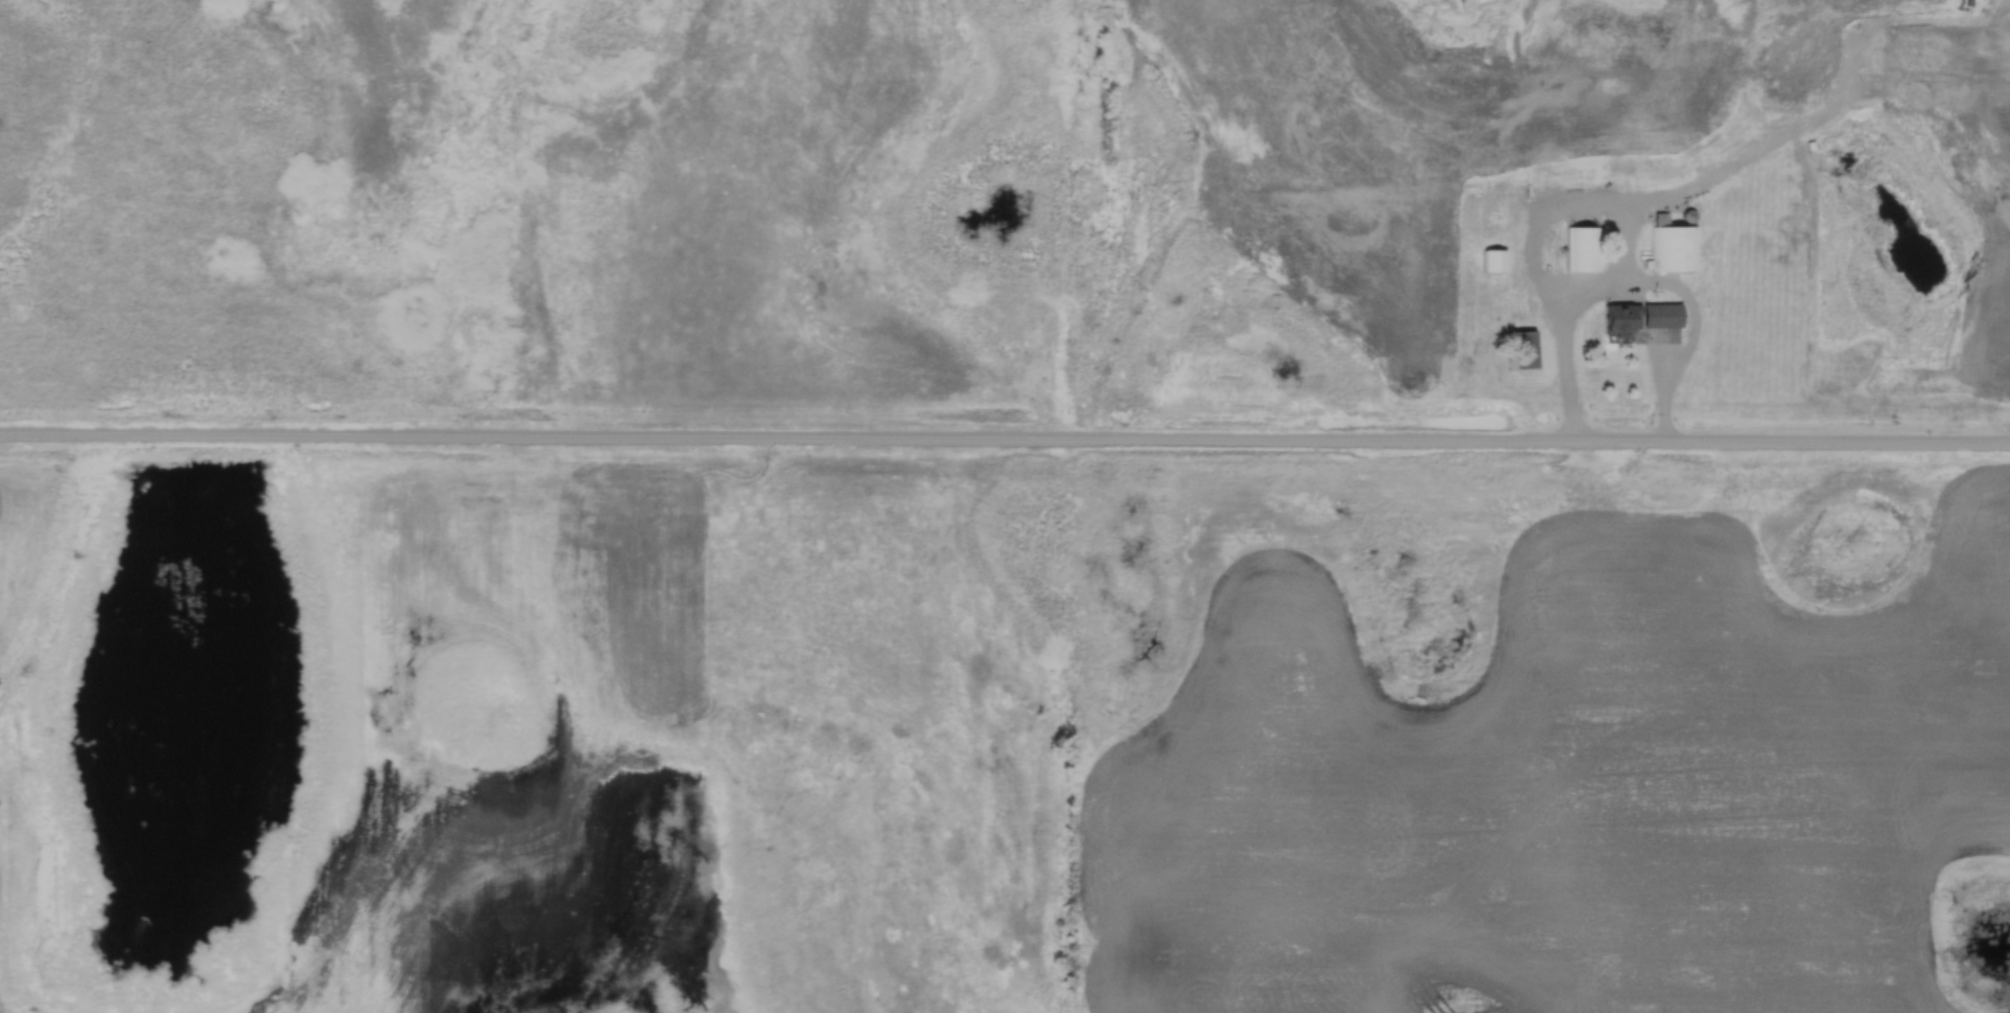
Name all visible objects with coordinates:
building: (1580, 248)
building: (1674, 248)
building: (1491, 259)
building: (1639, 315)
building: (1521, 350)
road: (1004, 442)

